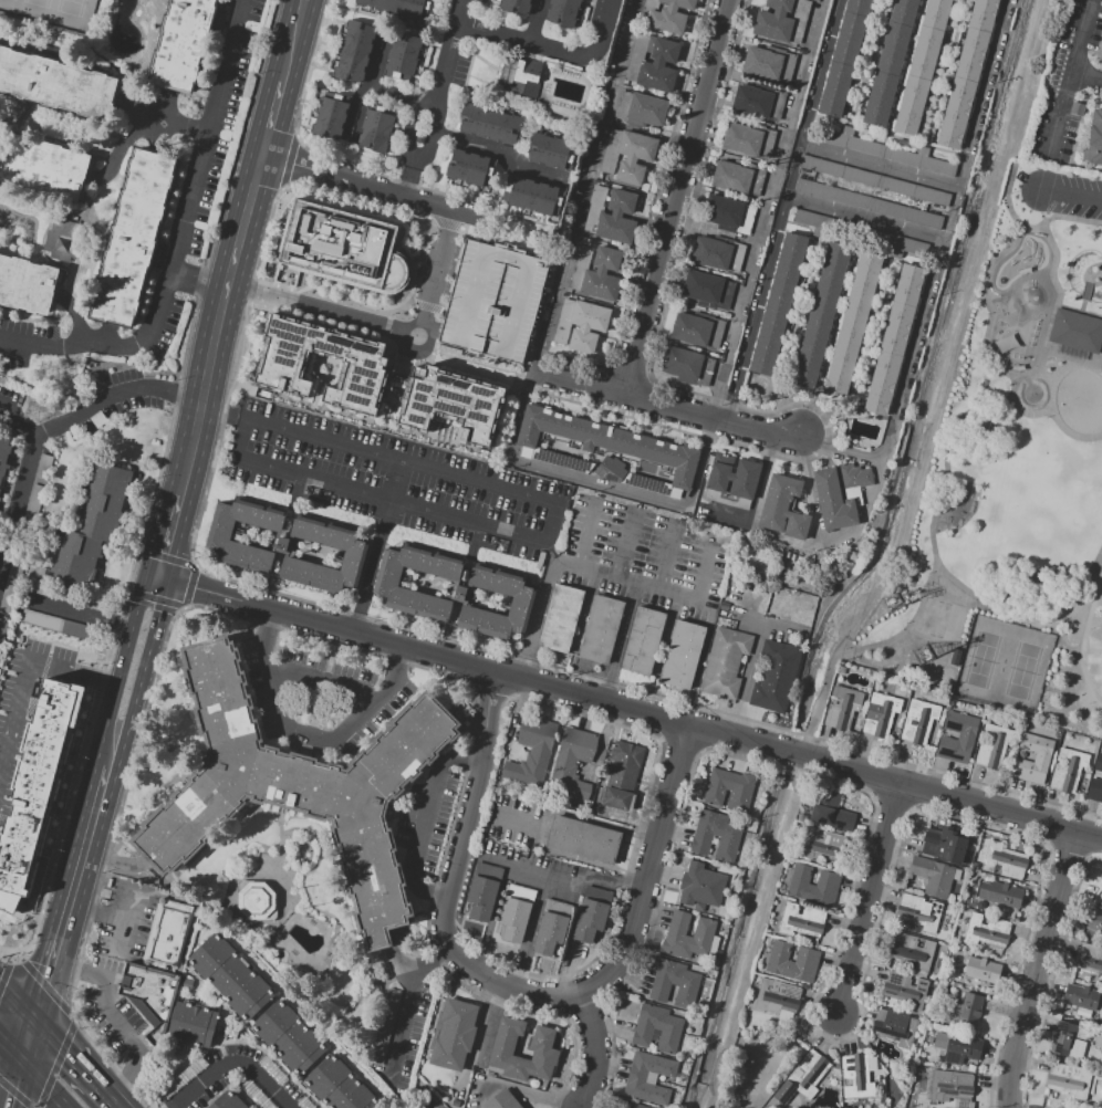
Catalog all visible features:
road: (309, 1)
building: (516, 6)
building: (396, 8)
park: (54, 12)
building: (563, 12)
building: (670, 15)
road: (536, 20)
building: (783, 20)
building: (357, 30)
road: (606, 30)
road: (527, 40)
road: (298, 43)
building: (354, 44)
building: (180, 46)
road: (1080, 51)
road: (94, 56)
building: (404, 58)
building: (844, 58)
building: (351, 59)
building: (769, 63)
building: (888, 64)
building: (923, 65)
building: (659, 67)
building: (346, 72)
road: (821, 72)
building: (966, 73)
building: (523, 76)
road: (370, 82)
building: (59, 84)
parking lot: (1067, 84)
road: (985, 93)
road: (435, 96)
road: (399, 100)
building: (758, 103)
road: (166, 108)
building: (646, 109)
road: (1063, 114)
building: (328, 116)
road: (166, 119)
road: (275, 121)
road: (17, 122)
building: (489, 124)
building: (376, 130)
building: (742, 138)
building: (1094, 138)
road: (122, 149)
road: (498, 150)
building: (883, 150)
building: (552, 151)
building: (635, 156)
road: (288, 161)
road: (349, 163)
road: (881, 165)
building: (44, 167)
building: (468, 168)
road: (794, 169)
building: (731, 177)
building: (873, 179)
road: (1011, 180)
road: (395, 191)
road: (1071, 192)
building: (533, 196)
road: (677, 196)
parking lot: (1079, 196)
building: (867, 202)
building: (722, 211)
road: (953, 212)
road: (866, 217)
building: (617, 218)
road: (427, 219)
road: (1068, 219)
building: (861, 232)
building: (135, 239)
road: (1049, 239)
building: (64, 241)
road: (178, 243)
building: (342, 247)
building: (713, 253)
road: (200, 273)
park: (1092, 274)
building: (603, 275)
road: (1095, 275)
road: (1056, 279)
building: (28, 286)
road: (196, 288)
building: (701, 288)
road: (1088, 290)
road: (985, 295)
building: (493, 301)
building: (779, 303)
road: (1083, 304)
road: (757, 306)
road: (1069, 306)
road: (1092, 312)
building: (820, 314)
road: (387, 324)
building: (851, 324)
road: (218, 325)
building: (588, 326)
road: (1050, 327)
building: (690, 328)
building: (1077, 330)
building: (895, 339)
road: (914, 349)
road: (1072, 358)
building: (682, 363)
building: (277, 368)
power tower: (44, 369)
road: (1029, 369)
road: (116, 395)
road: (668, 403)
building: (444, 408)
power tower: (33, 412)
road: (1051, 415)
building: (98, 420)
building: (607, 440)
road: (844, 449)
building: (4, 453)
road: (946, 463)
building: (43, 464)
building: (614, 466)
road: (27, 475)
building: (734, 477)
building: (855, 477)
parking lot: (387, 479)
road: (621, 489)
park: (1016, 496)
building: (833, 501)
building: (783, 508)
road: (554, 521)
building: (92, 527)
road: (589, 535)
road: (170, 537)
road: (824, 542)
building: (335, 543)
road: (627, 544)
road: (377, 546)
building: (20, 547)
road: (669, 556)
parking lot: (644, 557)
road: (576, 567)
road: (706, 575)
traffic signals: (158, 579)
building: (387, 584)
building: (66, 594)
building: (460, 594)
building: (521, 600)
power tower: (892, 605)
road: (64, 608)
road: (1027, 610)
park: (938, 617)
building: (561, 618)
road: (763, 621)
road: (113, 623)
building: (59, 625)
road: (129, 625)
building: (601, 629)
building: (2, 631)
road: (1084, 637)
building: (644, 641)
road: (622, 642)
road: (855, 650)
road: (505, 651)
building: (684, 654)
power tower: (923, 656)
road: (25, 662)
building: (725, 662)
road: (701, 663)
park: (1001, 665)
road: (143, 675)
building: (777, 677)
road: (750, 679)
road: (325, 684)
building: (843, 707)
road: (630, 708)
building: (881, 713)
road: (106, 721)
building: (918, 722)
road: (312, 734)
building: (958, 736)
building: (994, 745)
building: (532, 754)
building: (1035, 759)
building: (1098, 763)
building: (570, 764)
building: (1069, 770)
building: (623, 775)
building: (37, 786)
building: (298, 786)
building: (1094, 788)
building: (739, 796)
building: (833, 812)
road: (429, 823)
road: (602, 823)
road: (540, 826)
building: (716, 836)
building: (583, 839)
building: (826, 839)
building: (945, 844)
building: (1004, 860)
road: (590, 861)
building: (975, 865)
road: (652, 868)
building: (933, 875)
road: (453, 879)
building: (701, 885)
building: (813, 885)
road: (72, 891)
building: (482, 891)
building: (999, 895)
road: (867, 897)
building: (1101, 898)
building: (256, 901)
building: (921, 911)
building: (517, 912)
road: (97, 913)
building: (592, 914)
road: (126, 920)
building: (801, 921)
building: (1093, 922)
building: (551, 927)
building: (677, 927)
road: (756, 931)
building: (987, 931)
building: (167, 938)
building: (912, 951)
building: (1088, 960)
building: (792, 962)
road: (1037, 970)
building: (984, 971)
building: (230, 978)
building: (674, 982)
building: (905, 987)
building: (148, 991)
road: (17, 999)
building: (778, 999)
building: (1080, 999)
road: (410, 1000)
building: (969, 1010)
road: (111, 1016)
traffic signals: (35, 1018)
building: (193, 1025)
building: (657, 1026)
building: (895, 1026)
building: (453, 1033)
building: (289, 1037)
building: (1063, 1037)
road: (29, 1038)
road: (11, 1046)
building: (957, 1046)
building: (542, 1049)
road: (601, 1053)
traffic signals: (22, 1058)
road: (81, 1062)
road: (233, 1064)
building: (802, 1077)
building: (856, 1077)
building: (648, 1078)
building: (1069, 1080)
road: (14, 1083)
road: (45, 1083)
building: (340, 1086)
building: (952, 1088)
road: (517, 1089)
building: (502, 1100)
building: (227, 1101)
building: (635, 1106)

